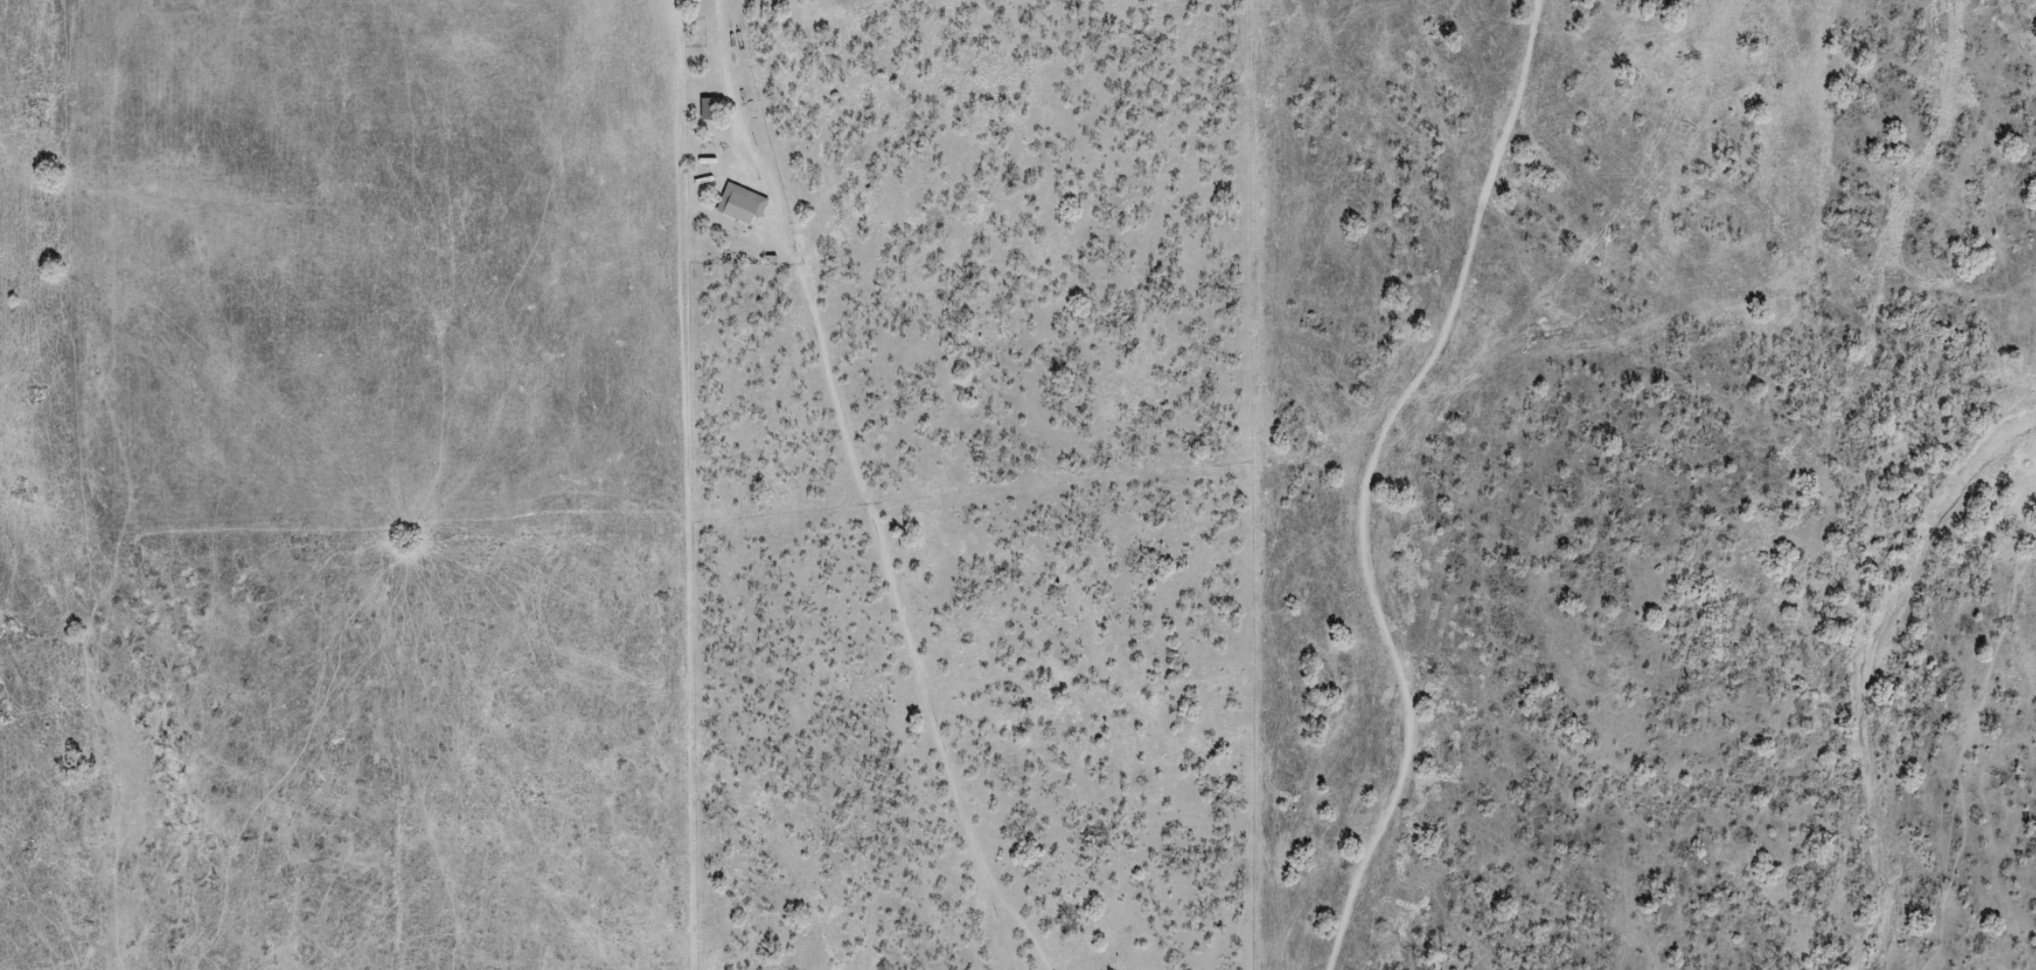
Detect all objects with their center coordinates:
building: (701, 110)
building: (736, 205)

